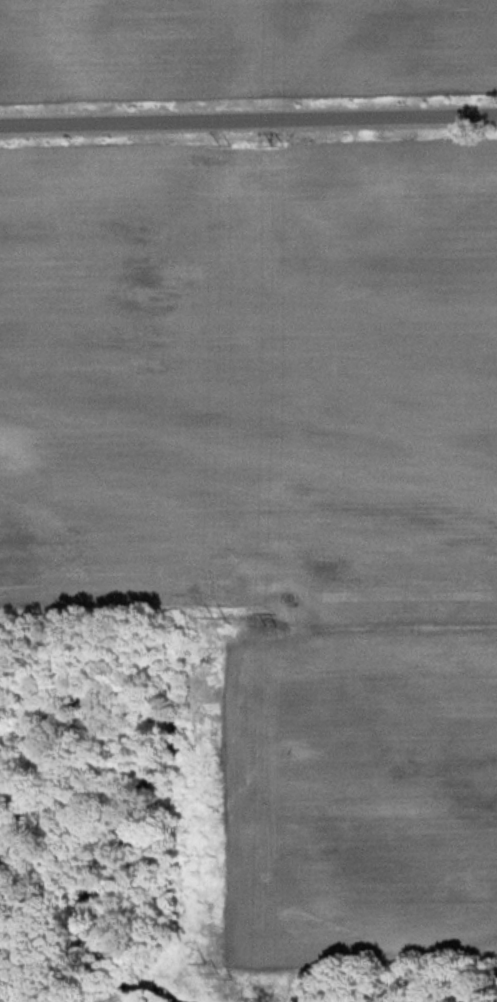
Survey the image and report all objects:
road: (248, 126)
power tower: (273, 141)
power tower: (220, 143)
power tower: (215, 618)
power tower: (270, 619)
power tower: (226, 971)
power tower: (275, 999)

